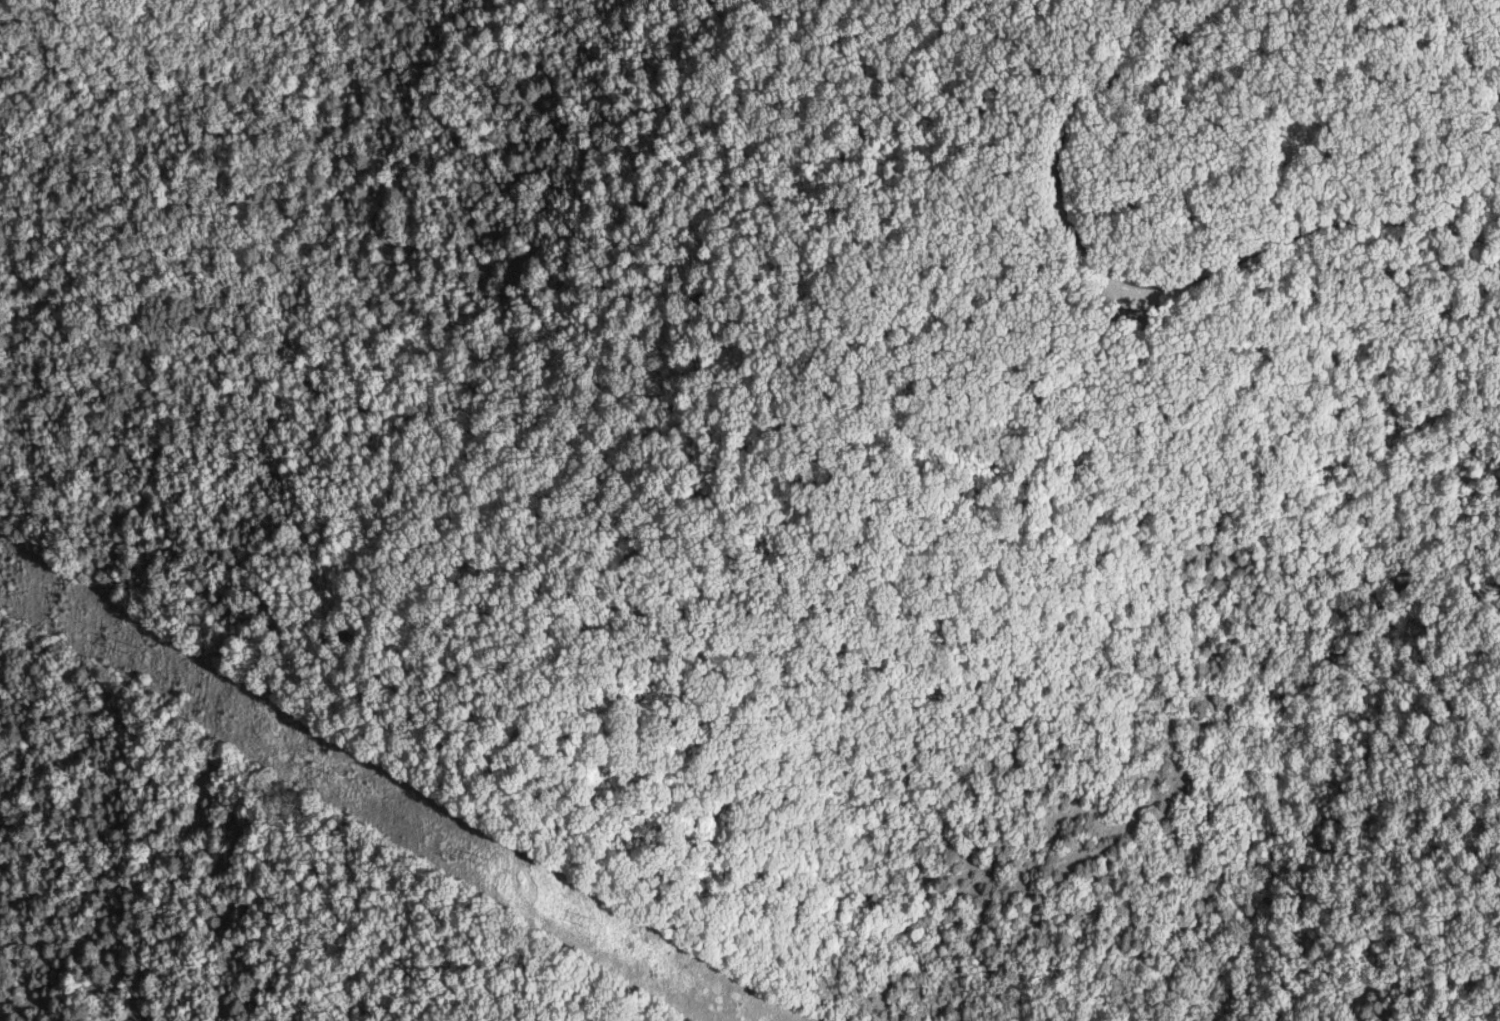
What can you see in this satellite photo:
power tower: (134, 652)
power tower: (489, 863)
power tower: (587, 922)

